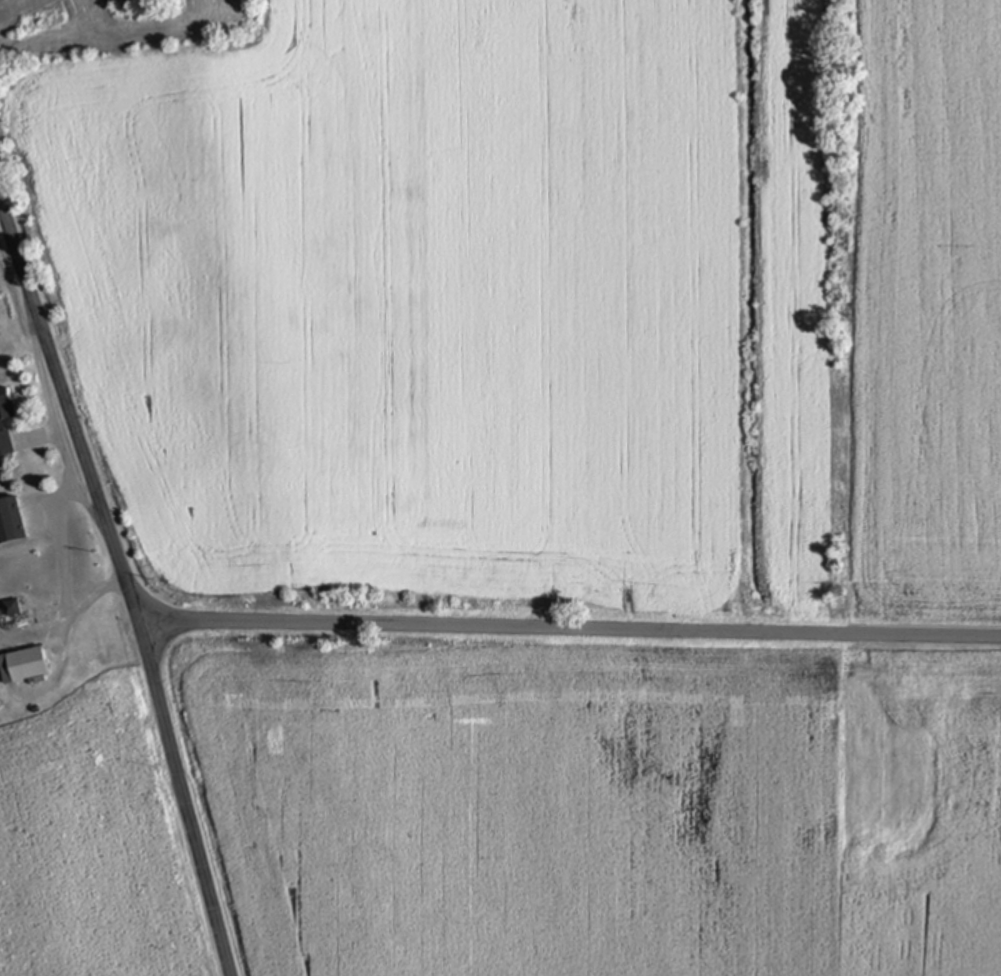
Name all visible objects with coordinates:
building: (5, 422)
building: (11, 521)
road: (125, 586)
road: (570, 632)
building: (27, 665)

